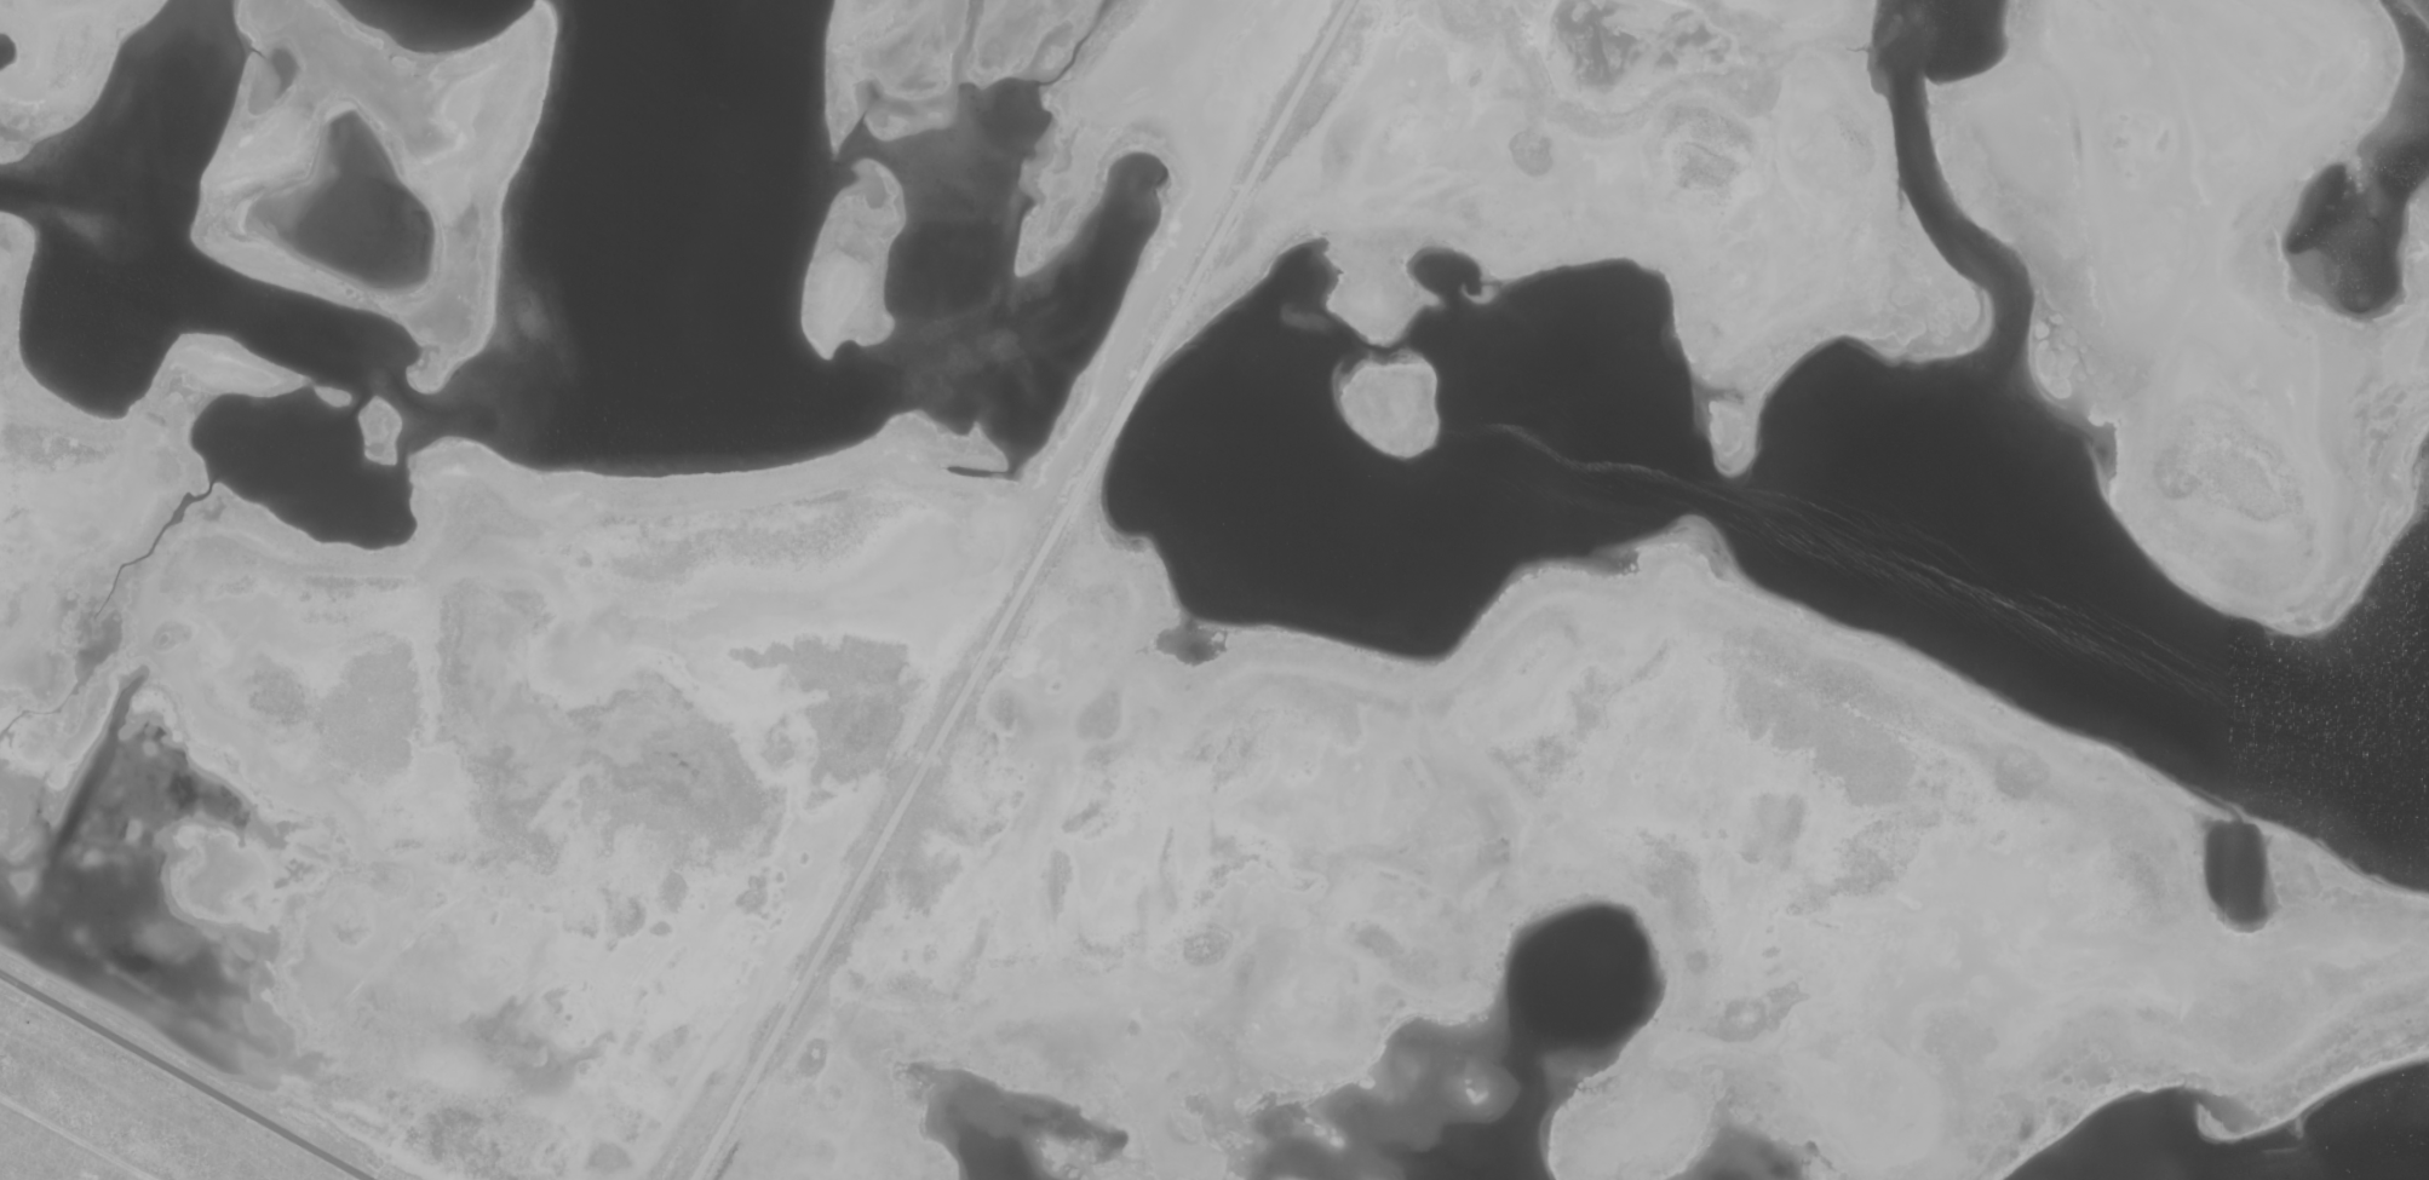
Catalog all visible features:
road: (1020, 589)
power plant: (1214, 589)
road: (185, 1076)

